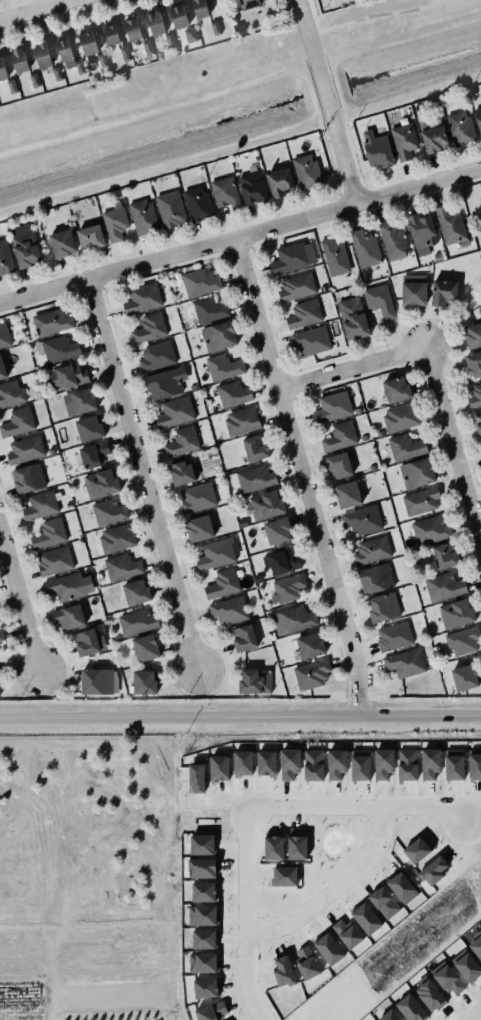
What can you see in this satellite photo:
building: (248, 3)
building: (199, 8)
road: (33, 9)
road: (374, 16)
building: (179, 17)
park: (386, 22)
building: (156, 24)
building: (214, 28)
building: (133, 29)
building: (109, 34)
building: (191, 35)
building: (170, 41)
building: (91, 48)
building: (148, 48)
building: (125, 54)
building: (68, 55)
building: (43, 56)
building: (18, 61)
building: (3, 69)
building: (57, 74)
building: (33, 80)
road: (324, 102)
building: (478, 118)
building: (460, 128)
building: (433, 139)
building: (403, 141)
building: (377, 149)
road: (190, 157)
building: (307, 172)
building: (280, 182)
building: (253, 188)
building: (225, 193)
building: (197, 204)
building: (171, 210)
building: (142, 217)
building: (114, 224)
building: (449, 225)
building: (421, 233)
building: (91, 237)
road: (240, 237)
building: (392, 240)
building: (61, 244)
building: (25, 247)
building: (364, 248)
building: (334, 257)
building: (5, 258)
building: (292, 258)
building: (199, 282)
building: (296, 287)
building: (443, 293)
building: (413, 294)
building: (143, 299)
building: (378, 300)
building: (210, 310)
building: (303, 314)
building: (353, 318)
building: (52, 322)
building: (150, 328)
building: (4, 336)
building: (217, 336)
building: (473, 336)
building: (310, 341)
building: (58, 349)
building: (157, 356)
building: (474, 364)
building: (222, 367)
building: (2, 369)
road: (432, 371)
building: (68, 376)
building: (166, 383)
building: (397, 389)
building: (11, 393)
building: (234, 394)
building: (475, 397)
building: (81, 401)
building: (331, 406)
building: (356, 410)
building: (174, 412)
building: (400, 417)
building: (242, 421)
building: (18, 422)
building: (479, 424)
building: (88, 429)
building: (340, 436)
building: (183, 442)
building: (405, 447)
building: (256, 448)
building: (24, 450)
building: (50, 452)
building: (94, 454)
building: (338, 466)
building: (416, 473)
building: (180, 474)
road: (140, 475)
road: (301, 477)
building: (27, 479)
building: (254, 479)
building: (100, 484)
building: (347, 495)
building: (196, 498)
building: (422, 501)
building: (41, 505)
building: (266, 505)
building: (107, 512)
building: (362, 520)
building: (198, 529)
building: (429, 530)
building: (277, 531)
building: (50, 534)
building: (117, 538)
building: (371, 550)
building: (216, 553)
building: (444, 556)
building: (53, 561)
building: (283, 562)
building: (122, 567)
building: (376, 578)
building: (223, 583)
building: (443, 586)
building: (66, 587)
building: (287, 589)
building: (134, 593)
road: (19, 601)
building: (383, 607)
building: (229, 610)
building: (456, 613)
building: (69, 617)
building: (292, 620)
building: (137, 622)
building: (1, 637)
building: (393, 637)
building: (244, 638)
building: (463, 641)
building: (85, 643)
building: (310, 645)
building: (144, 649)
building: (0, 651)
building: (404, 662)
building: (312, 674)
building: (463, 679)
building: (97, 681)
building: (255, 681)
building: (145, 682)
building: (0, 689)
road: (240, 716)
building: (243, 763)
building: (267, 763)
building: (383, 763)
building: (430, 763)
building: (289, 764)
building: (336, 764)
building: (407, 764)
building: (454, 764)
building: (313, 765)
building: (360, 765)
building: (474, 765)
building: (219, 768)
building: (196, 776)
road: (361, 806)
building: (202, 845)
building: (273, 847)
building: (296, 847)
building: (417, 849)
building: (201, 868)
building: (434, 869)
crop: (88, 875)
building: (285, 876)
building: (402, 887)
road: (332, 889)
building: (203, 892)
building: (384, 902)
building: (206, 915)
road: (244, 916)
building: (366, 918)
building: (347, 932)
building: (204, 939)
building: (476, 946)
building: (328, 948)
building: (206, 963)
building: (307, 963)
building: (466, 966)
building: (283, 972)
building: (448, 979)
building: (205, 988)
building: (430, 995)
building: (410, 1008)
building: (212, 1012)
building: (389, 1015)
road: (476, 1016)

